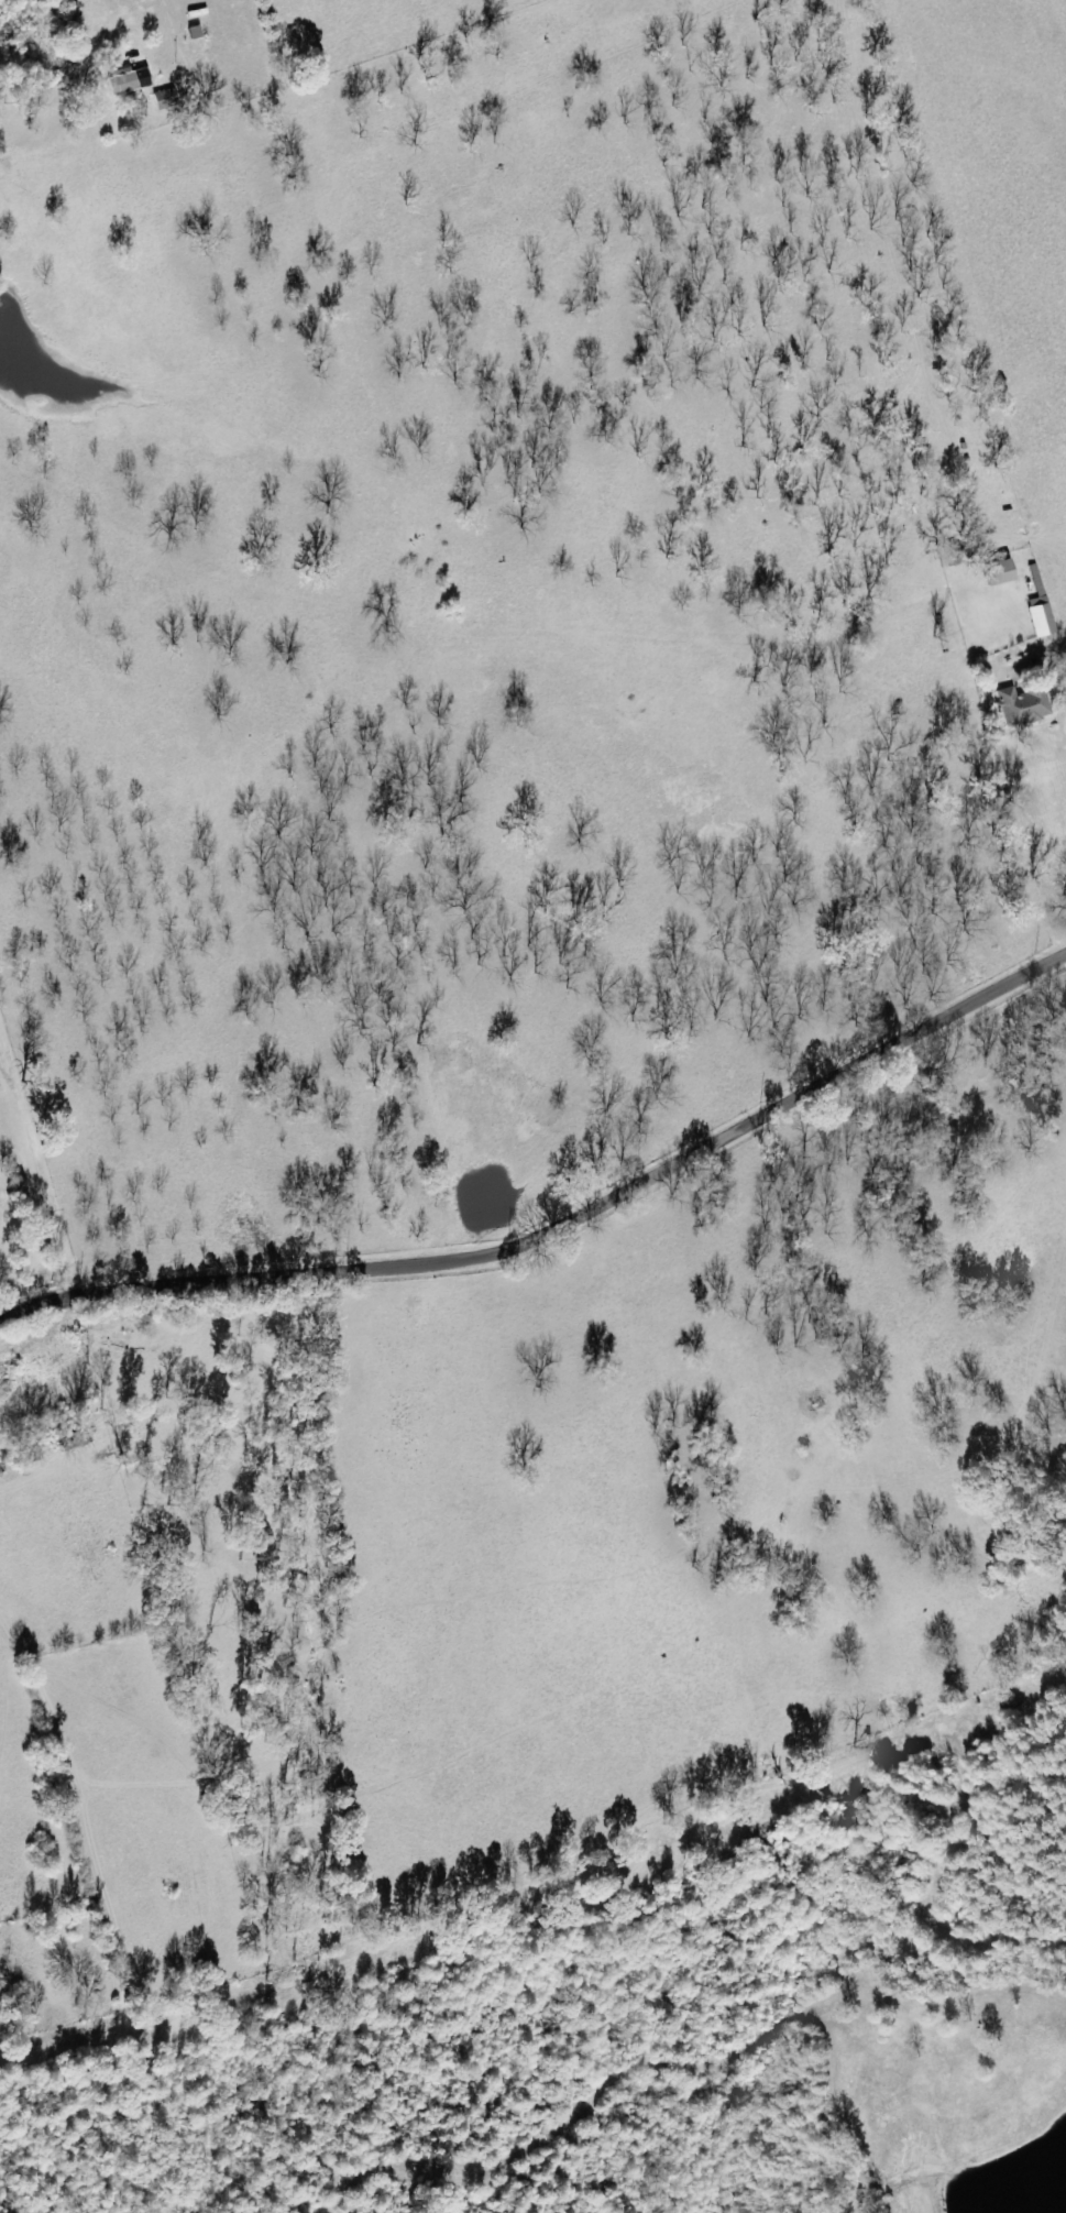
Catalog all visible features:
building: (128, 80)
building: (165, 96)
road: (1053, 554)
building: (997, 573)
building: (1042, 621)
building: (1023, 705)
road: (55, 1135)
road: (561, 1228)

